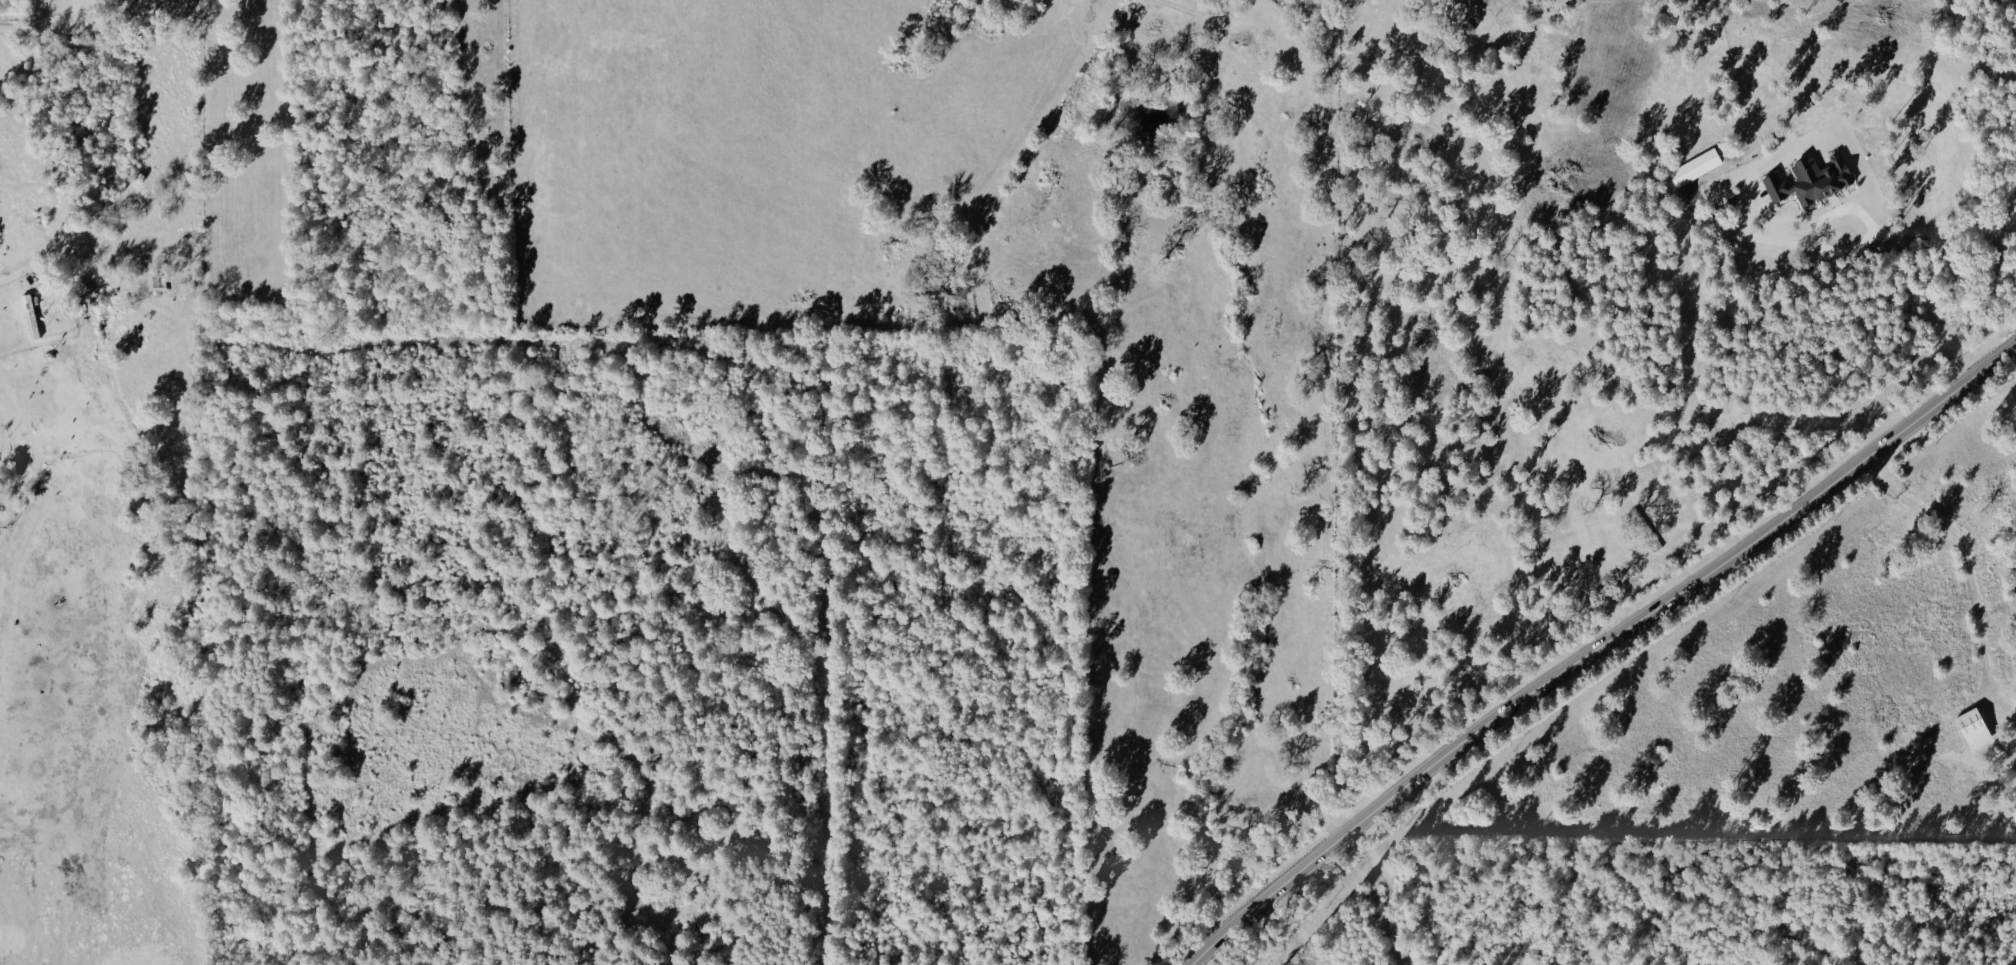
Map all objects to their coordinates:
road: (71, 26)
building: (1814, 179)
road: (1867, 237)
building: (31, 317)
road: (8, 418)
road: (1962, 546)
road: (1593, 645)
building: (1977, 727)

